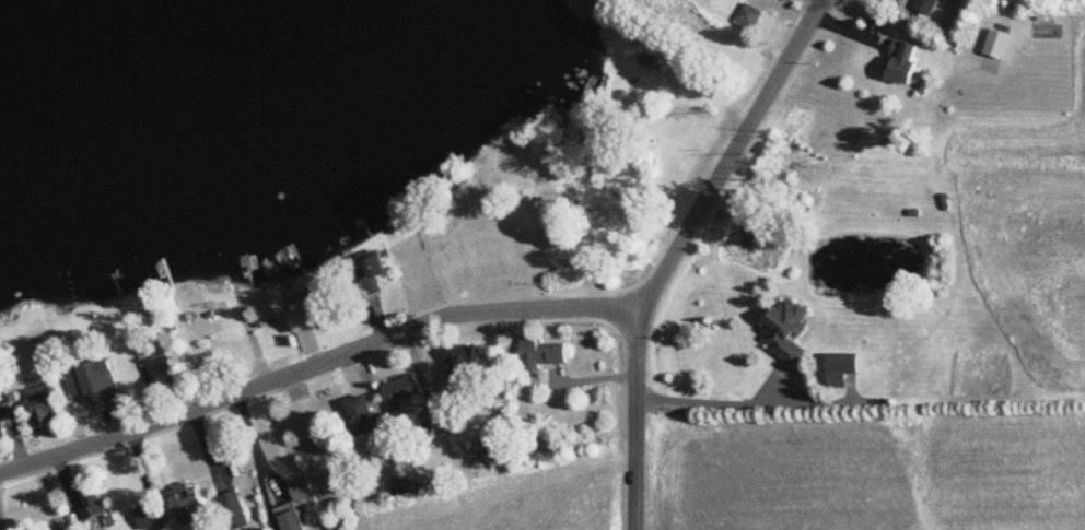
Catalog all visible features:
building: (927, 5)
building: (748, 16)
building: (903, 60)
building: (542, 198)
building: (373, 274)
road: (486, 311)
building: (310, 313)
building: (786, 328)
building: (542, 352)
building: (464, 364)
building: (121, 367)
building: (841, 367)
building: (90, 382)
building: (401, 391)
road: (710, 399)
building: (45, 404)
building: (9, 408)
building: (362, 414)
road: (638, 421)
building: (497, 440)
building: (401, 485)
building: (185, 502)
building: (91, 503)
building: (295, 505)
building: (233, 509)
building: (149, 516)
road: (3, 519)

